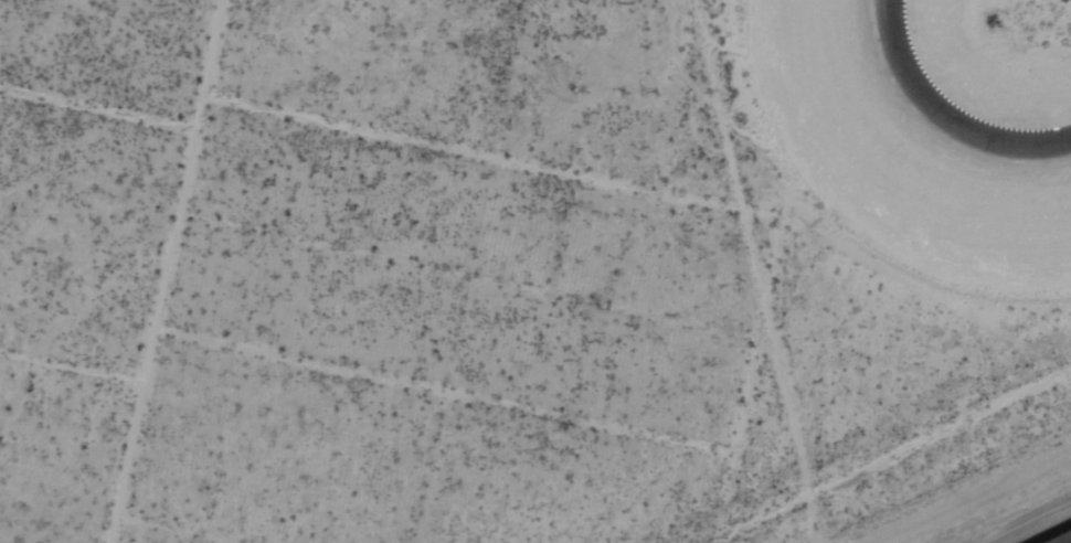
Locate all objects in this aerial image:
raceway: (887, 47)
raceway: (944, 117)
airport: (948, 482)

